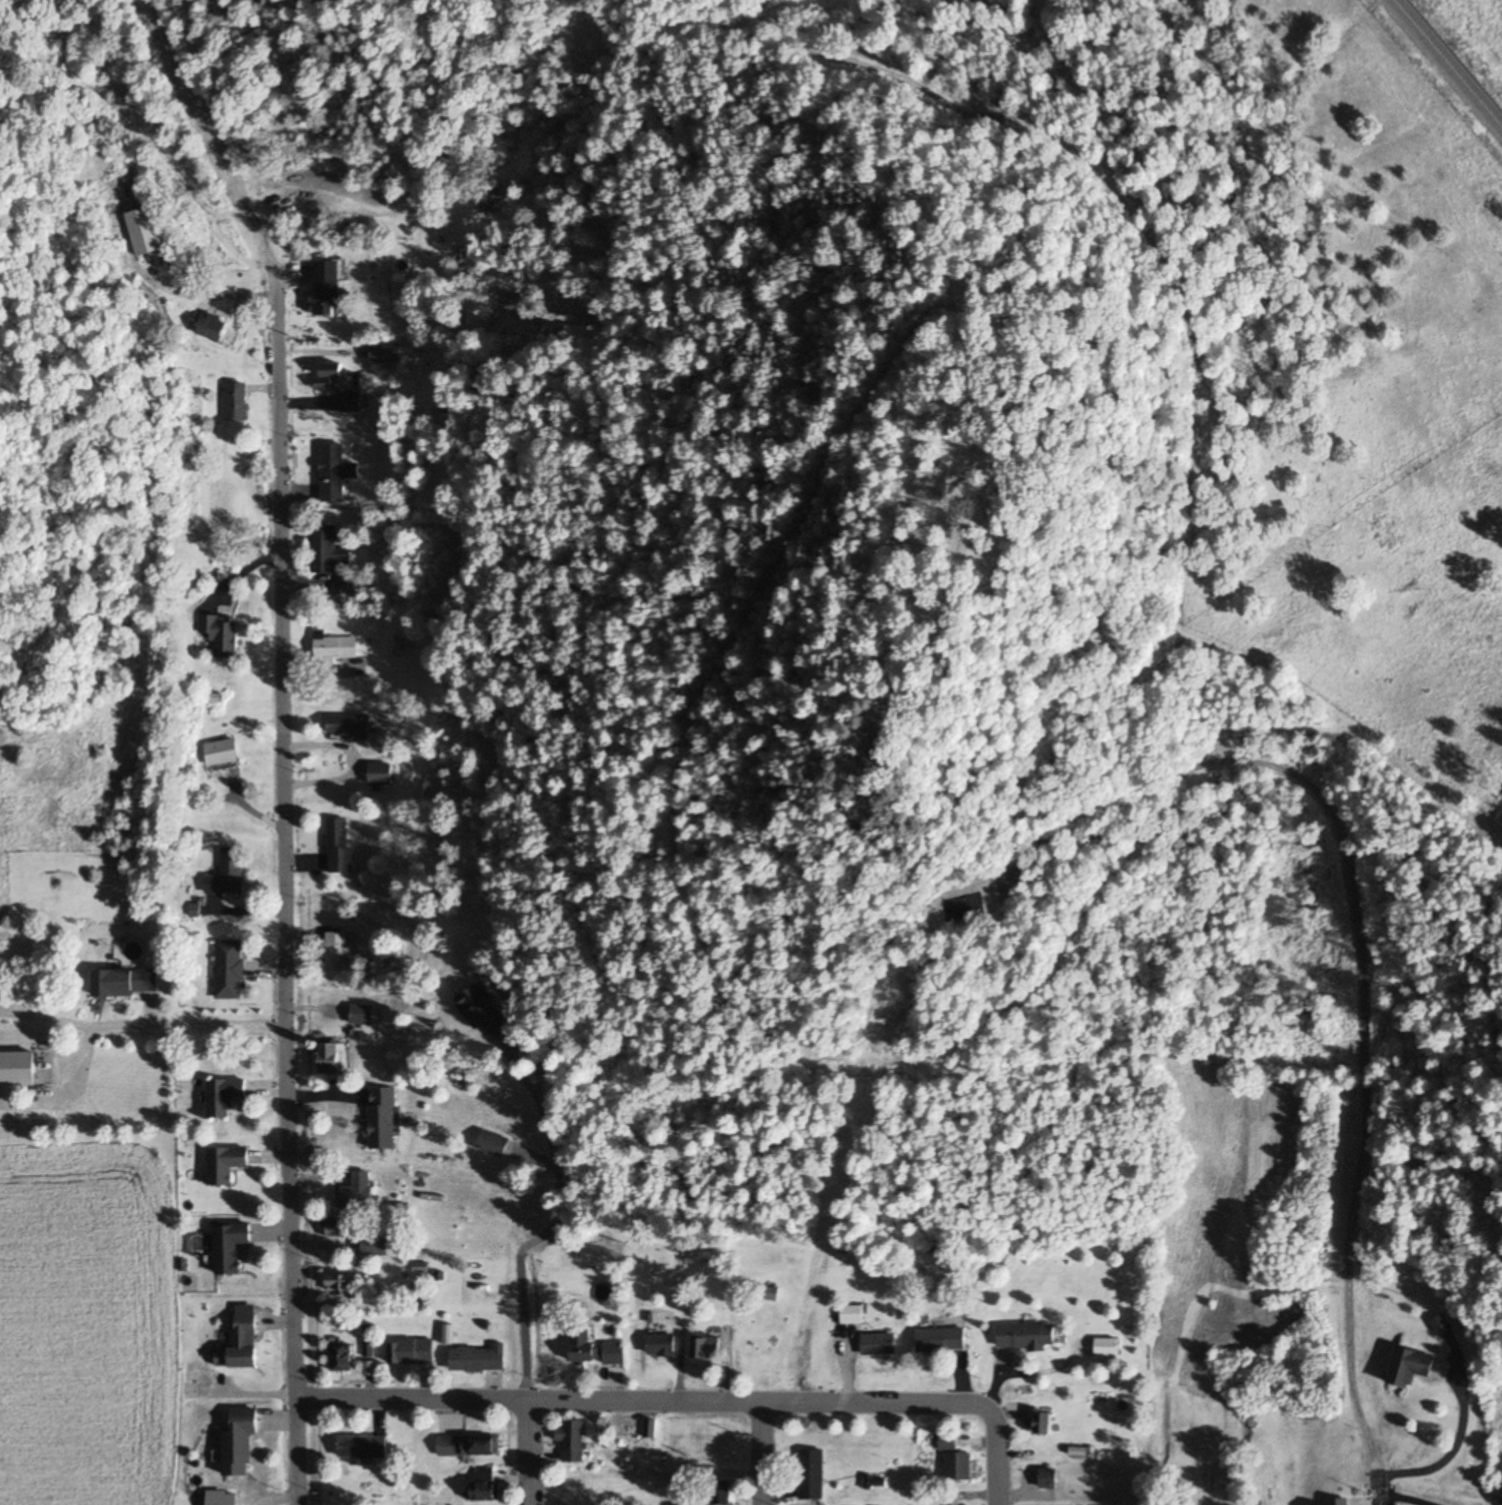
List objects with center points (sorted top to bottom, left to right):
road: (1450, 60)
building: (1497, 206)
building: (145, 232)
building: (327, 298)
building: (213, 327)
building: (384, 352)
building: (341, 387)
building: (237, 403)
building: (332, 473)
building: (327, 551)
building: (341, 591)
building: (221, 635)
building: (334, 647)
building: (349, 726)
building: (888, 748)
building: (221, 752)
road: (359, 763)
building: (378, 773)
building: (338, 845)
building: (226, 874)
road: (286, 880)
building: (490, 902)
building: (965, 908)
building: (336, 952)
building: (230, 969)
building: (134, 982)
building: (483, 1012)
building: (362, 1014)
road: (154, 1027)
building: (329, 1058)
building: (16, 1068)
building: (224, 1095)
building: (383, 1118)
building: (493, 1142)
building: (226, 1162)
building: (358, 1189)
building: (340, 1225)
road: (315, 1238)
building: (230, 1245)
building: (375, 1245)
building: (344, 1283)
building: (851, 1314)
building: (1441, 1323)
building: (1026, 1335)
building: (941, 1339)
building: (241, 1340)
building: (879, 1343)
building: (583, 1344)
building: (661, 1344)
building: (1106, 1346)
building: (706, 1347)
building: (410, 1350)
building: (341, 1357)
building: (472, 1359)
building: (1410, 1365)
road: (530, 1367)
road: (650, 1398)
building: (1043, 1422)
building: (572, 1439)
building: (239, 1441)
building: (947, 1442)
building: (468, 1444)
building: (362, 1447)
road: (760, 1452)
road: (508, 1455)
road: (318, 1456)
road: (999, 1465)
building: (958, 1466)
building: (812, 1474)
building: (1048, 1478)
building: (485, 1484)
road: (1378, 1487)
building: (722, 1492)
building: (1339, 1501)

